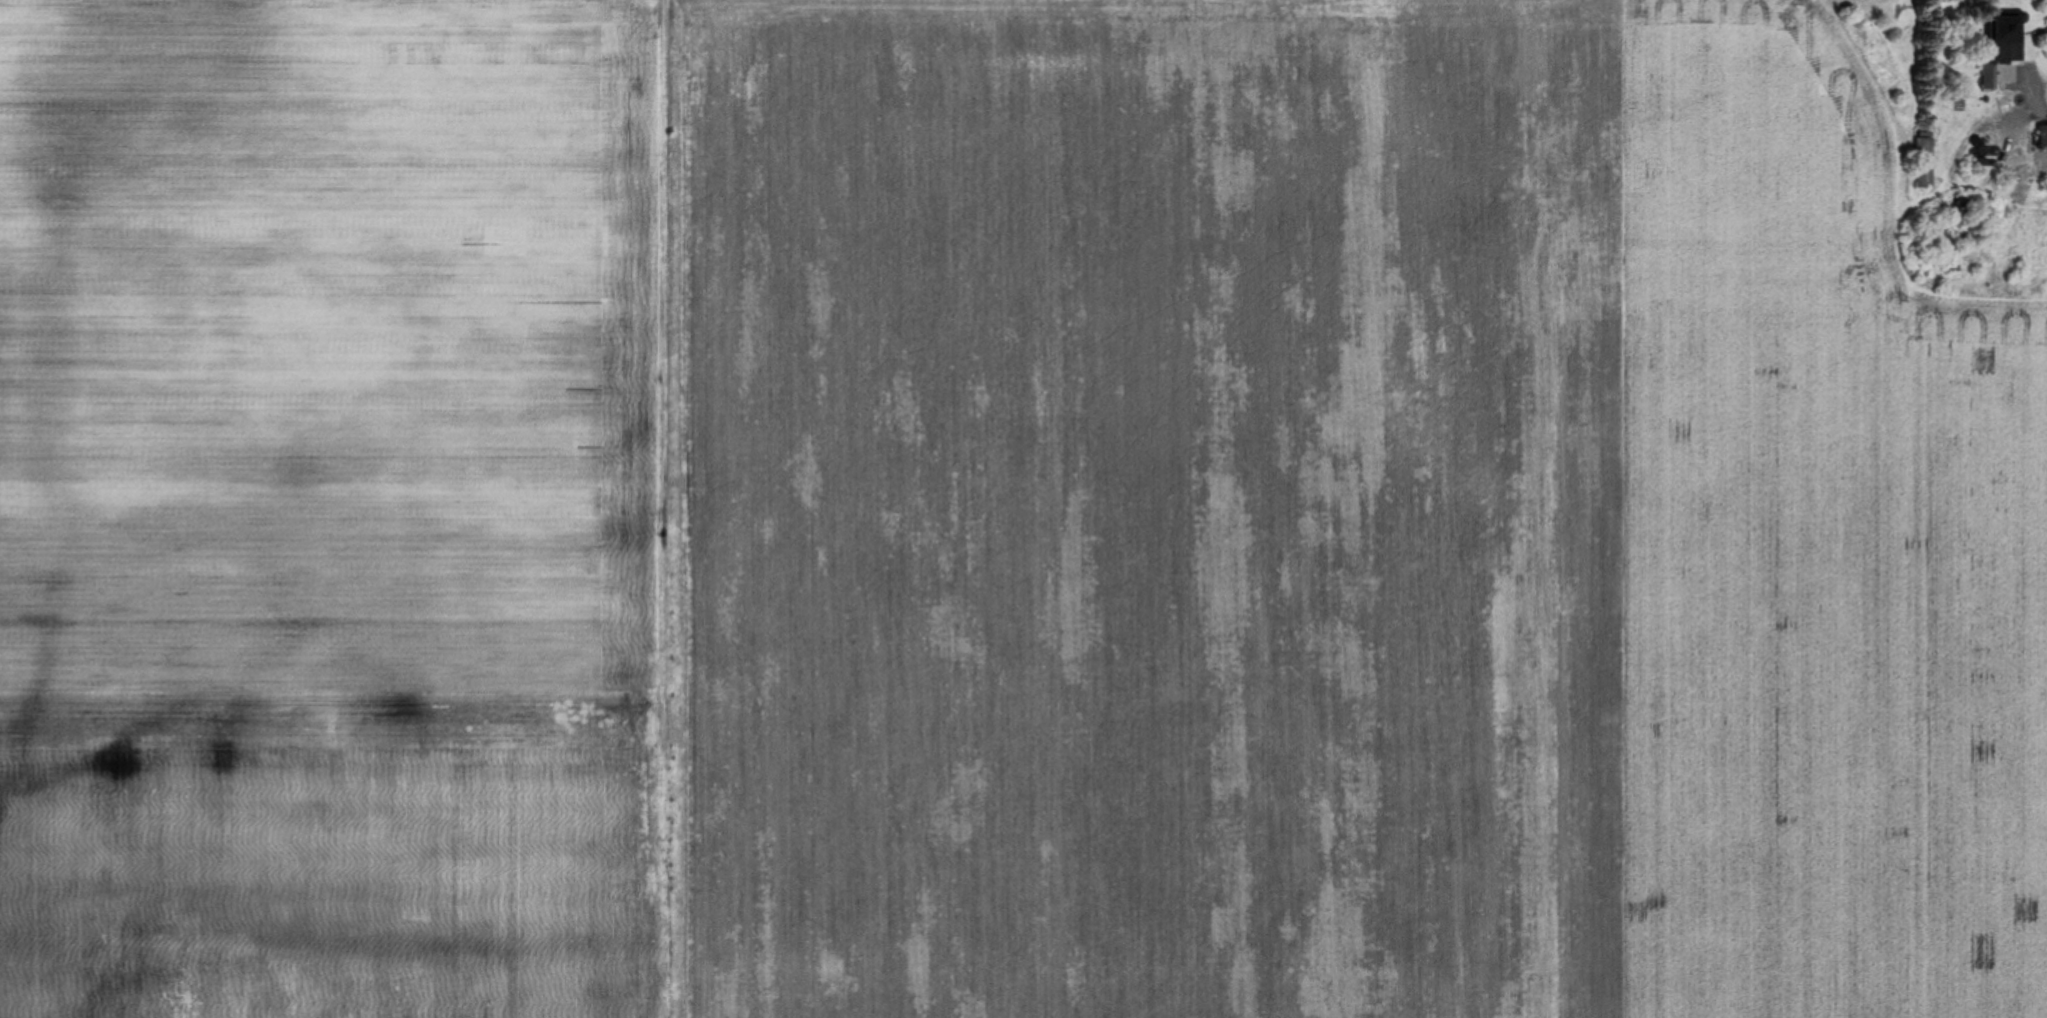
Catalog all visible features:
building: (1999, 38)
road: (2030, 89)
building: (2040, 138)
building: (1923, 162)

